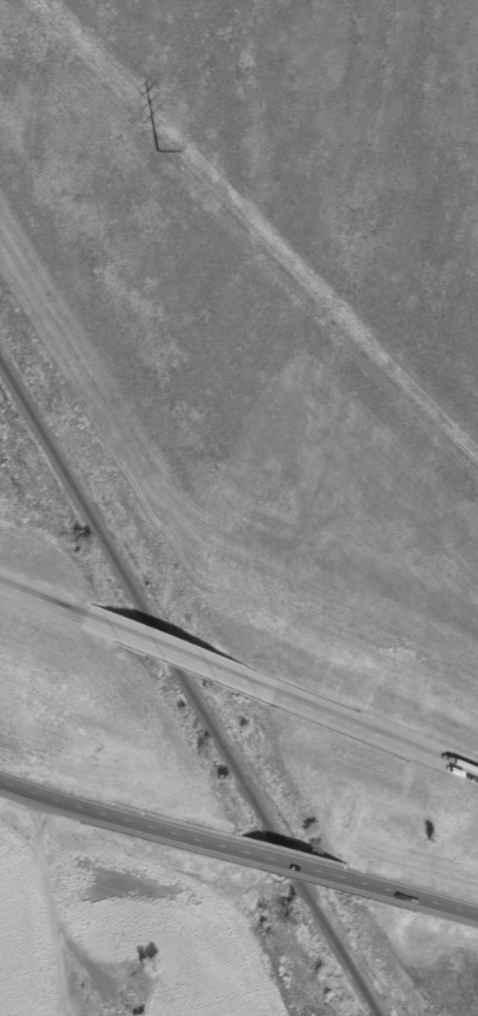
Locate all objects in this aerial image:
power tower: (159, 149)
road: (43, 599)
road: (182, 655)
railway: (188, 686)
road: (377, 734)
road: (117, 816)
road: (300, 865)
road: (422, 899)

